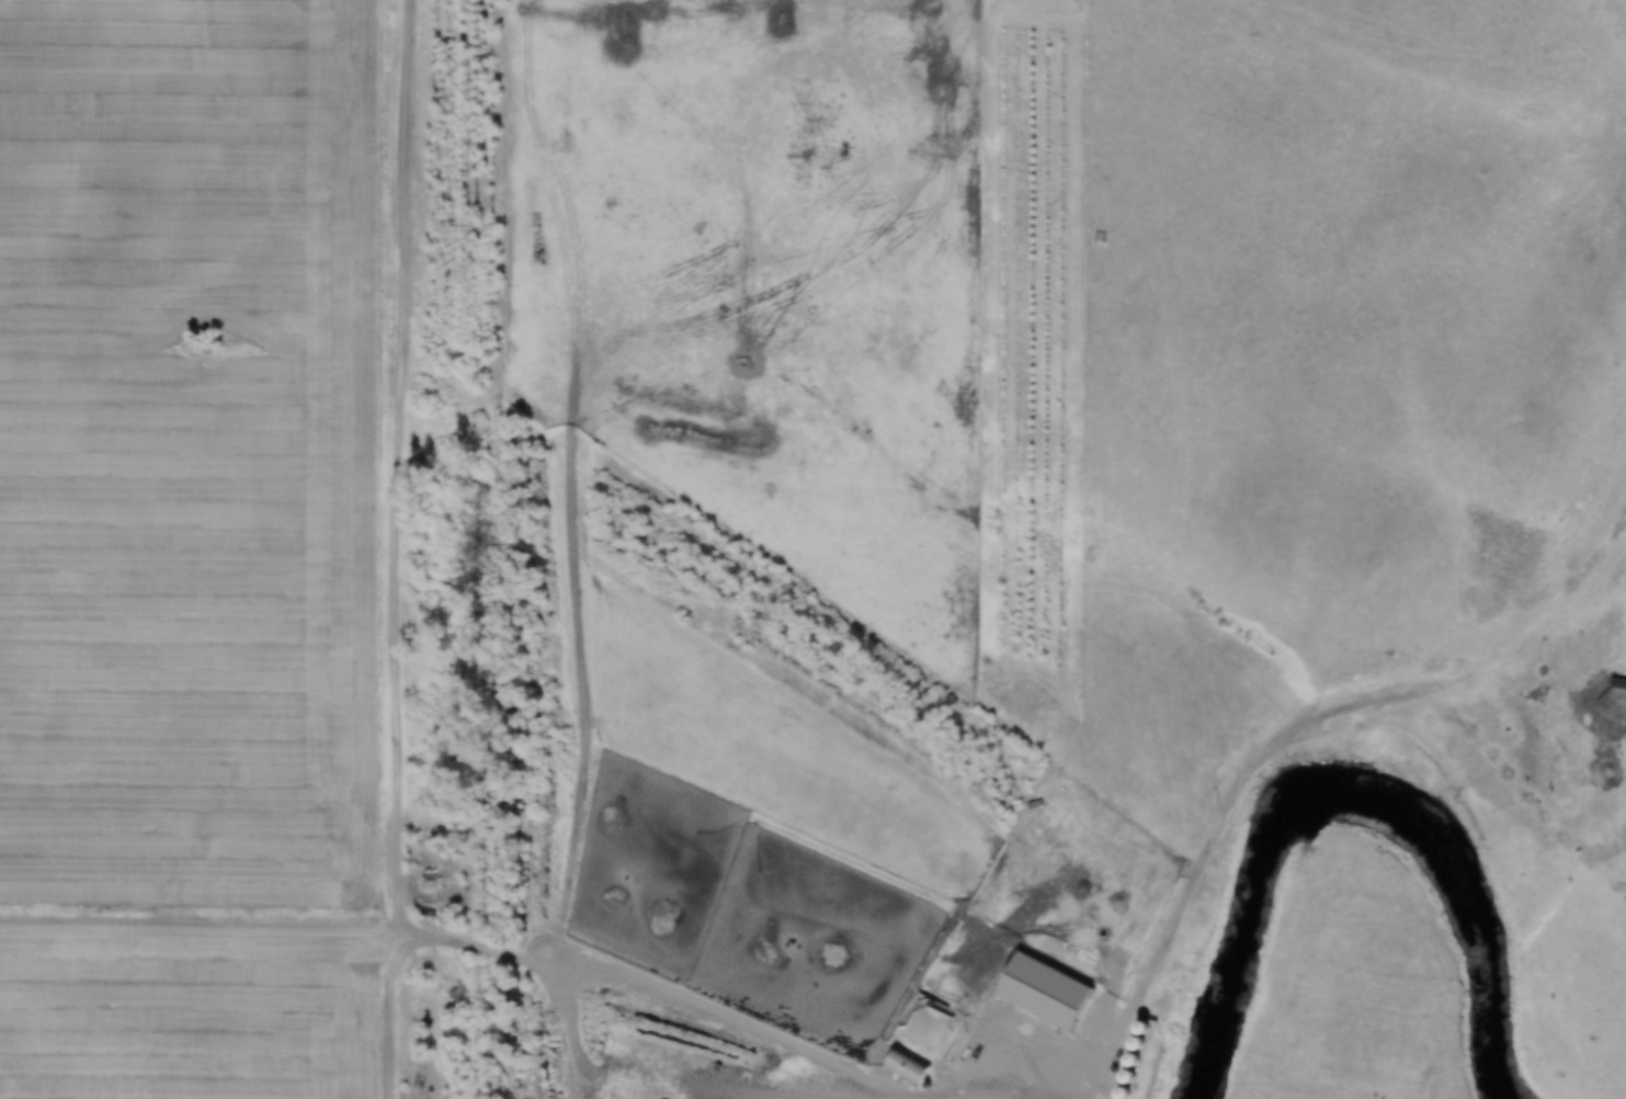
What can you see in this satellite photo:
road: (410, 465)
building: (1617, 683)
road: (1217, 828)
road: (734, 865)
building: (821, 953)
road: (582, 976)
road: (1099, 1058)
building: (908, 1066)
road: (748, 1095)

